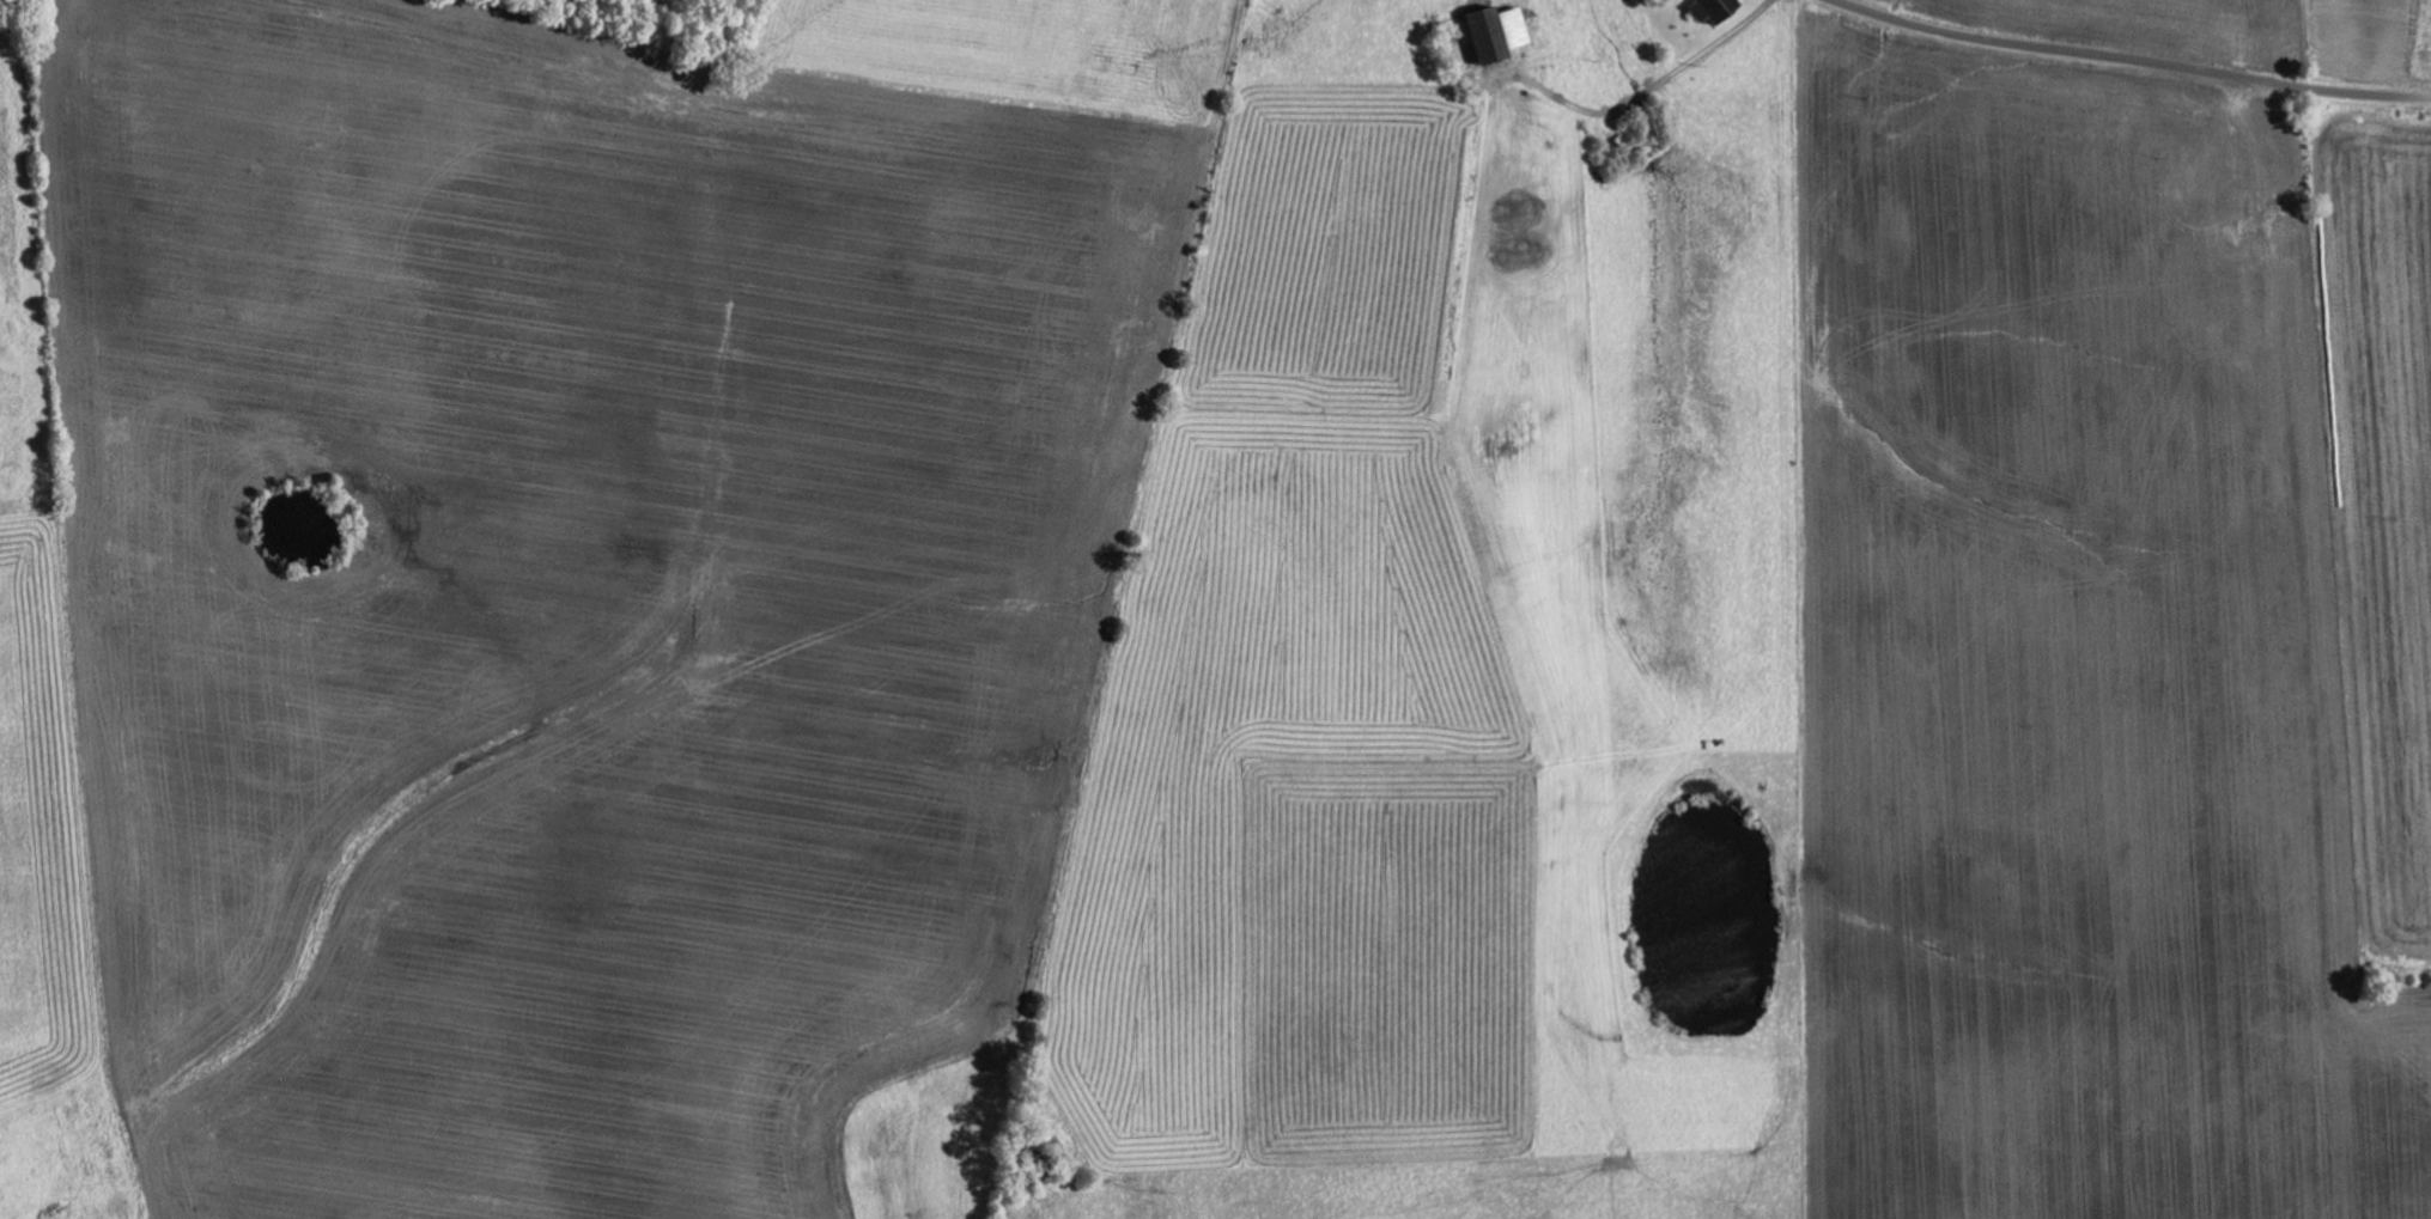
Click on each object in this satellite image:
building: (1714, 8)
building: (1500, 32)
road: (2129, 60)
road: (1461, 410)

